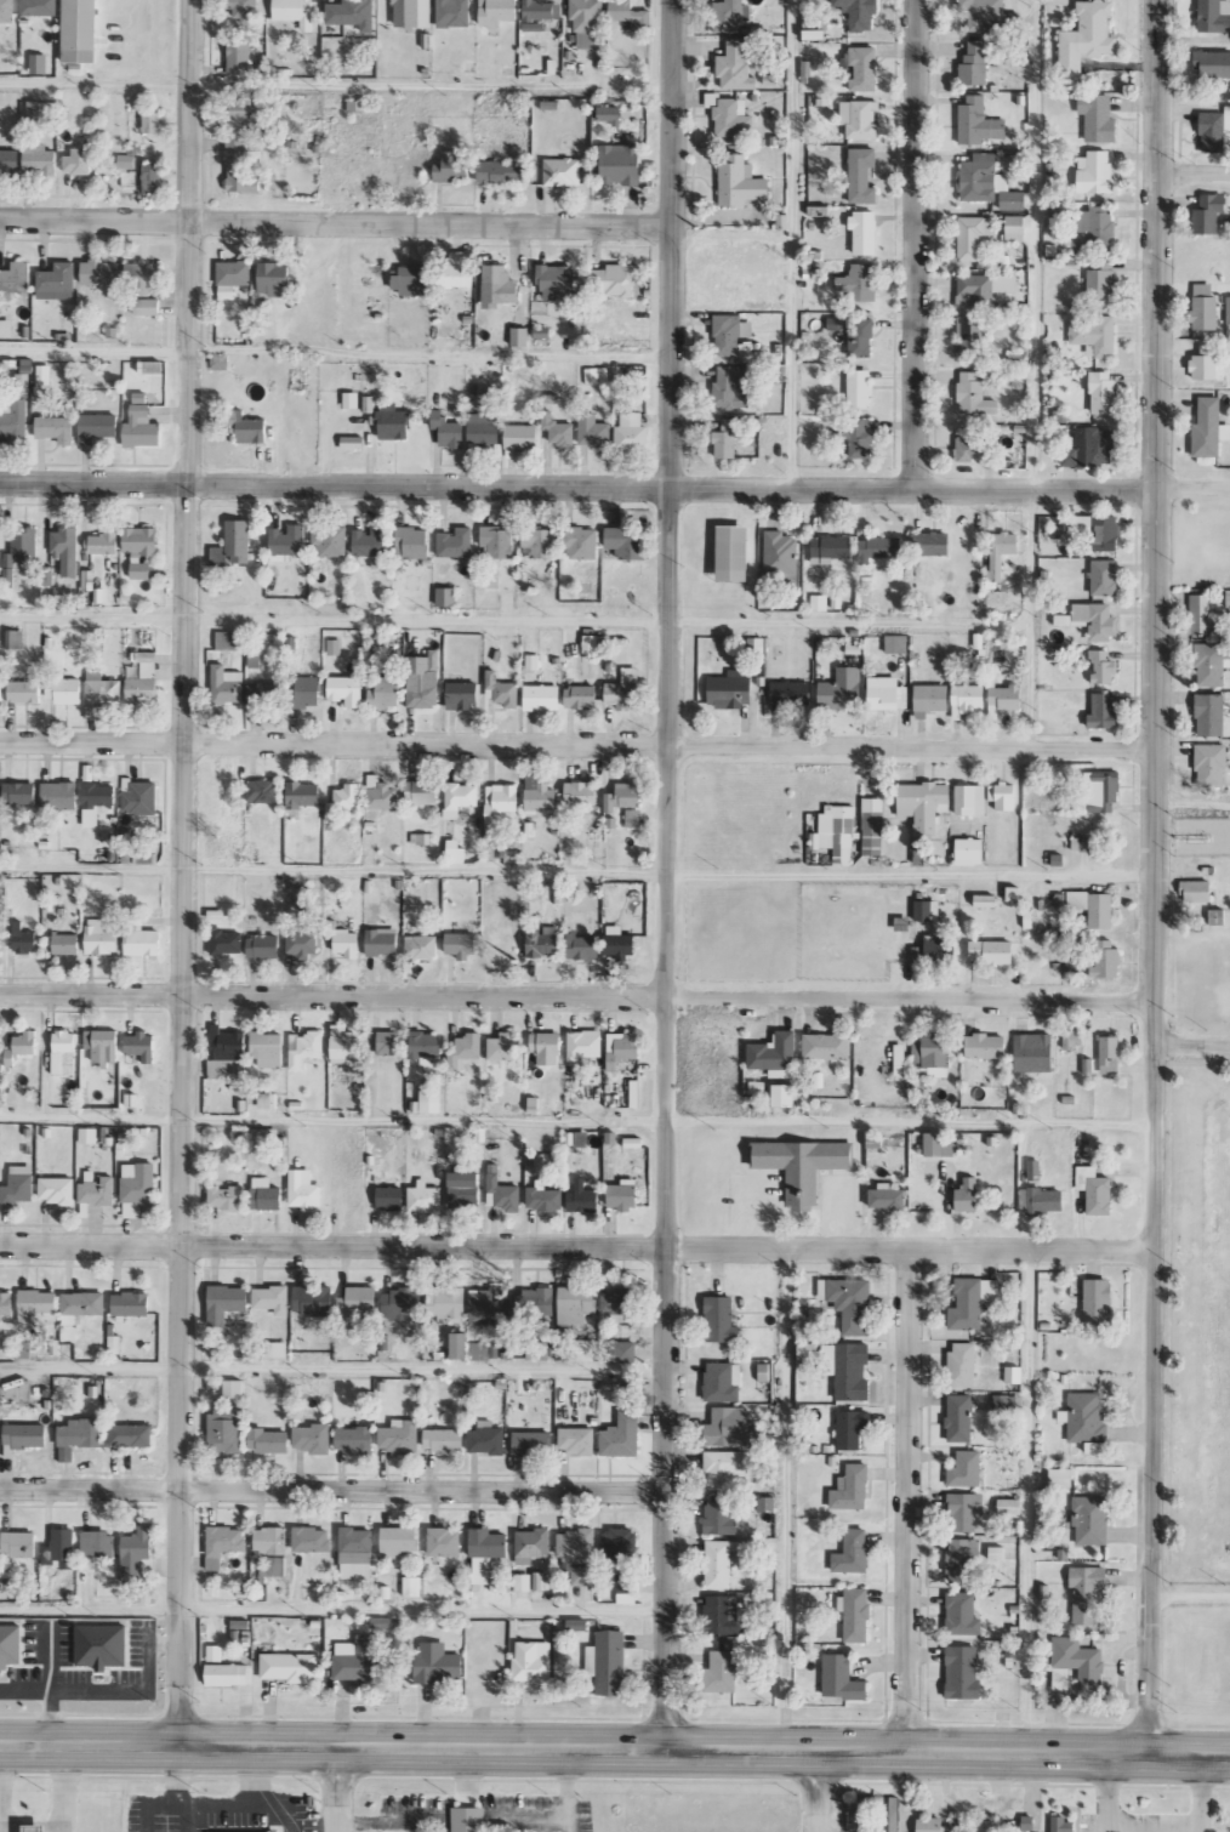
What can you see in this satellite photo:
building: (38, 7)
building: (243, 8)
building: (6, 11)
building: (295, 11)
building: (412, 12)
building: (452, 12)
building: (496, 12)
building: (539, 12)
building: (858, 12)
building: (352, 13)
building: (630, 13)
building: (985, 13)
building: (728, 15)
building: (1214, 15)
building: (586, 22)
building: (79, 30)
building: (1087, 36)
building: (238, 58)
building: (974, 63)
building: (1213, 63)
building: (735, 66)
building: (861, 68)
road: (338, 86)
building: (357, 106)
building: (245, 113)
building: (609, 113)
building: (733, 116)
building: (859, 118)
building: (1098, 118)
building: (150, 121)
building: (978, 121)
building: (1214, 127)
building: (39, 159)
building: (8, 160)
building: (125, 160)
building: (78, 161)
building: (620, 164)
building: (239, 166)
building: (450, 166)
building: (562, 171)
building: (502, 172)
building: (1094, 172)
road: (1196, 172)
building: (861, 175)
building: (150, 177)
building: (740, 182)
building: (987, 182)
building: (1208, 212)
road: (338, 222)
building: (1015, 228)
building: (1093, 228)
building: (864, 231)
building: (973, 235)
road: (787, 244)
road: (918, 245)
road: (1029, 245)
building: (456, 271)
building: (99, 272)
building: (15, 274)
building: (57, 277)
building: (142, 277)
building: (232, 277)
building: (273, 278)
building: (409, 279)
building: (614, 279)
building: (1100, 280)
building: (557, 281)
building: (860, 281)
building: (499, 286)
building: (983, 289)
building: (146, 306)
building: (1205, 307)
building: (1228, 309)
building: (6, 328)
building: (969, 334)
building: (1095, 334)
building: (727, 335)
building: (519, 336)
building: (861, 337)
road: (337, 354)
building: (1205, 364)
building: (150, 366)
building: (42, 375)
building: (596, 375)
building: (730, 387)
building: (859, 388)
building: (1103, 392)
building: (975, 393)
building: (370, 404)
building: (12, 421)
building: (141, 423)
building: (393, 423)
building: (244, 426)
building: (97, 427)
building: (483, 427)
building: (56, 428)
building: (1208, 428)
building: (448, 429)
building: (558, 429)
building: (593, 431)
building: (631, 432)
building: (520, 436)
building: (860, 437)
building: (725, 439)
building: (352, 442)
building: (976, 446)
building: (1088, 448)
road: (579, 485)
road: (1194, 489)
building: (1082, 524)
building: (1105, 533)
building: (330, 539)
building: (139, 540)
building: (238, 541)
building: (371, 541)
building: (497, 541)
building: (539, 541)
building: (625, 541)
building: (104, 542)
building: (286, 542)
building: (411, 542)
building: (455, 542)
building: (581, 542)
building: (932, 544)
building: (19, 550)
building: (66, 550)
building: (830, 550)
building: (879, 551)
building: (780, 552)
building: (1001, 552)
building: (733, 553)
building: (139, 570)
building: (1104, 576)
building: (446, 596)
building: (1228, 598)
building: (1202, 615)
road: (1024, 618)
building: (1063, 619)
building: (1097, 619)
road: (512, 622)
building: (227, 639)
building: (590, 643)
building: (896, 643)
building: (334, 647)
building: (254, 659)
building: (533, 661)
building: (1212, 662)
building: (1101, 666)
building: (143, 679)
building: (422, 679)
building: (226, 684)
building: (63, 689)
building: (623, 689)
building: (730, 689)
building: (842, 689)
building: (0, 690)
building: (24, 690)
building: (346, 690)
building: (501, 690)
building: (99, 692)
building: (385, 693)
building: (788, 693)
building: (887, 693)
building: (462, 695)
building: (580, 696)
building: (542, 698)
building: (930, 699)
building: (967, 699)
building: (1003, 700)
building: (1103, 711)
building: (1209, 715)
road: (577, 741)
building: (1211, 766)
building: (262, 791)
building: (1101, 791)
building: (19, 792)
building: (421, 792)
building: (302, 793)
building: (581, 793)
building: (58, 795)
building: (539, 795)
building: (623, 796)
building: (1002, 796)
building: (378, 797)
building: (460, 798)
building: (969, 800)
building: (96, 801)
building: (342, 801)
building: (500, 801)
building: (923, 804)
road: (1192, 806)
building: (633, 818)
building: (311, 819)
building: (872, 826)
building: (836, 832)
building: (421, 838)
building: (454, 850)
building: (969, 850)
building: (139, 858)
road: (189, 871)
road: (672, 874)
road: (576, 875)
road: (1154, 877)
building: (1196, 891)
building: (1013, 893)
building: (985, 900)
building: (1094, 906)
building: (923, 910)
building: (141, 937)
building: (99, 938)
building: (23, 939)
building: (343, 939)
building: (226, 941)
building: (381, 941)
building: (301, 943)
building: (542, 943)
building: (619, 943)
building: (0, 944)
building: (66, 944)
building: (461, 945)
building: (262, 946)
building: (421, 946)
building: (581, 948)
building: (940, 951)
building: (992, 951)
building: (1106, 960)
road: (575, 997)
building: (1072, 1037)
building: (343, 1042)
building: (387, 1042)
building: (102, 1045)
building: (585, 1045)
building: (826, 1045)
building: (985, 1045)
building: (141, 1046)
building: (425, 1046)
building: (22, 1047)
building: (503, 1047)
building: (546, 1047)
road: (1192, 1047)
building: (304, 1048)
building: (621, 1048)
building: (267, 1049)
building: (466, 1049)
building: (773, 1051)
building: (935, 1051)
building: (1033, 1051)
building: (63, 1053)
building: (1110, 1054)
building: (900, 1059)
building: (1088, 1064)
building: (923, 1075)
building: (784, 1096)
building: (1069, 1098)
building: (267, 1100)
building: (429, 1102)
road: (335, 1122)
road: (912, 1123)
building: (89, 1136)
building: (576, 1138)
building: (611, 1138)
building: (264, 1139)
building: (632, 1145)
building: (939, 1145)
building: (803, 1165)
building: (138, 1183)
building: (18, 1185)
building: (96, 1189)
building: (463, 1189)
building: (56, 1190)
building: (304, 1190)
building: (1094, 1190)
building: (501, 1191)
building: (264, 1194)
building: (623, 1195)
building: (967, 1195)
building: (226, 1197)
building: (425, 1197)
building: (543, 1197)
building: (582, 1197)
building: (887, 1197)
building: (389, 1199)
building: (1041, 1200)
road: (577, 1246)
building: (272, 1298)
building: (312, 1299)
building: (358, 1301)
building: (445, 1301)
building: (972, 1301)
building: (226, 1302)
building: (531, 1302)
building: (849, 1302)
building: (1097, 1302)
building: (35, 1303)
building: (130, 1303)
building: (398, 1303)
building: (621, 1303)
building: (6, 1304)
building: (576, 1304)
building: (80, 1305)
building: (719, 1319)
park: (1195, 1329)
building: (459, 1344)
building: (277, 1349)
building: (583, 1349)
building: (484, 1350)
building: (539, 1350)
building: (626, 1350)
building: (807, 1350)
building: (962, 1364)
building: (847, 1369)
road: (334, 1371)
building: (1013, 1373)
building: (723, 1382)
building: (233, 1388)
building: (959, 1417)
building: (1087, 1419)
building: (224, 1427)
building: (728, 1427)
building: (850, 1428)
building: (130, 1434)
building: (24, 1435)
building: (79, 1435)
building: (621, 1435)
building: (399, 1436)
building: (312, 1438)
building: (486, 1438)
building: (353, 1439)
building: (268, 1440)
building: (443, 1440)
building: (576, 1440)
building: (531, 1441)
building: (723, 1468)
building: (966, 1468)
building: (1060, 1477)
road: (334, 1486)
building: (852, 1489)
road: (779, 1498)
road: (907, 1501)
road: (1024, 1501)
building: (765, 1503)
building: (1009, 1506)
building: (966, 1510)
building: (721, 1514)
building: (1091, 1519)
building: (311, 1538)
building: (269, 1540)
building: (398, 1541)
building: (444, 1542)
building: (18, 1543)
building: (223, 1543)
building: (531, 1544)
building: (574, 1544)
building: (95, 1548)
building: (59, 1549)
building: (852, 1552)
building: (137, 1553)
building: (355, 1553)
building: (485, 1553)
building: (997, 1553)
building: (962, 1559)
building: (722, 1560)
building: (272, 1568)
building: (582, 1575)
building: (537, 1581)
building: (523, 1582)
building: (411, 1586)
building: (626, 1588)
building: (1086, 1592)
road: (1191, 1594)
road: (332, 1612)
building: (722, 1614)
building: (855, 1614)
building: (962, 1614)
building: (576, 1623)
building: (10, 1645)
building: (101, 1645)
building: (213, 1652)
building: (357, 1661)
building: (607, 1661)
building: (437, 1662)
building: (530, 1663)
building: (1076, 1663)
building: (289, 1667)
building: (721, 1672)
building: (962, 1672)
building: (227, 1674)
building: (841, 1678)
road: (575, 1747)
road: (1190, 1754)
road: (341, 1788)
road: (819, 1791)
building: (467, 1819)
building: (1027, 1821)
building: (1066, 1824)
building: (932, 1825)
building: (983, 1825)
building: (34, 1827)

